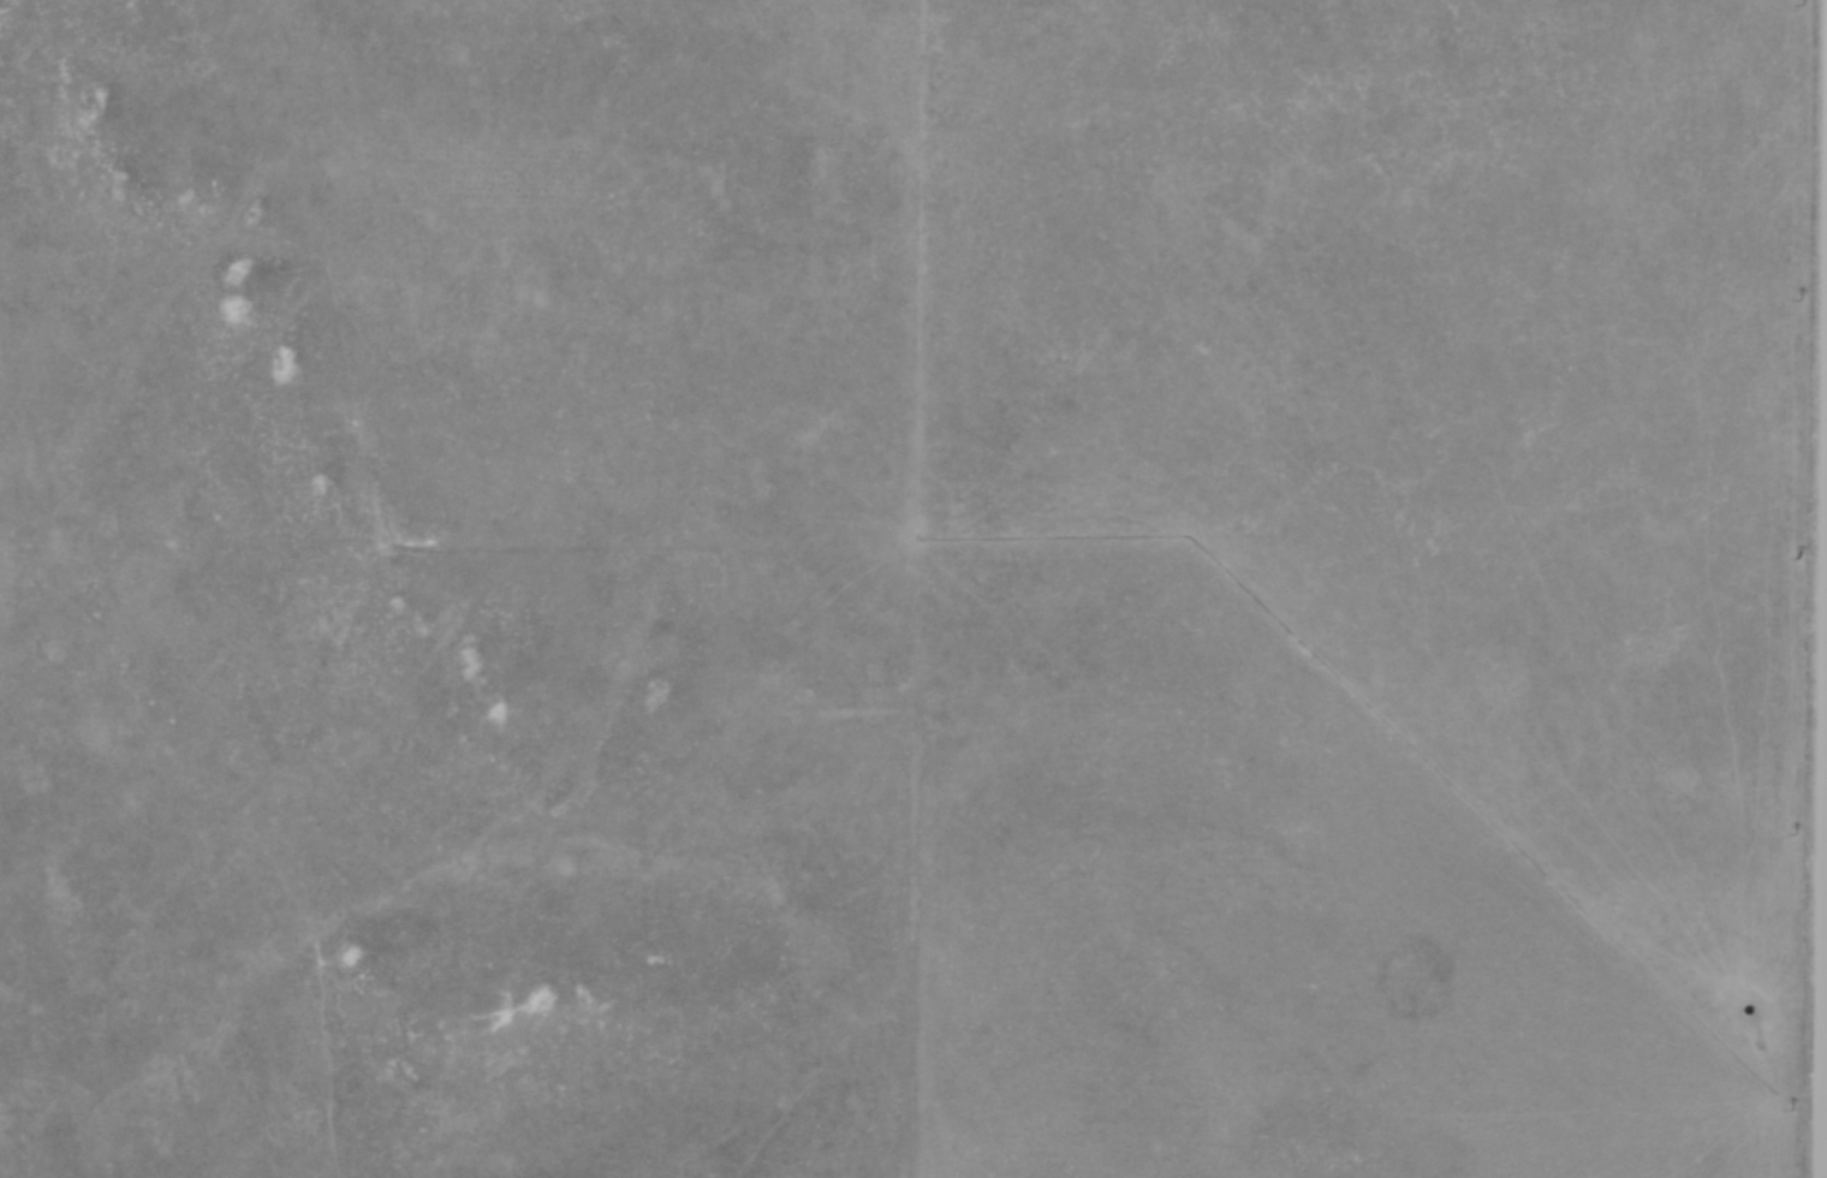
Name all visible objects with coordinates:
road: (1823, 945)

